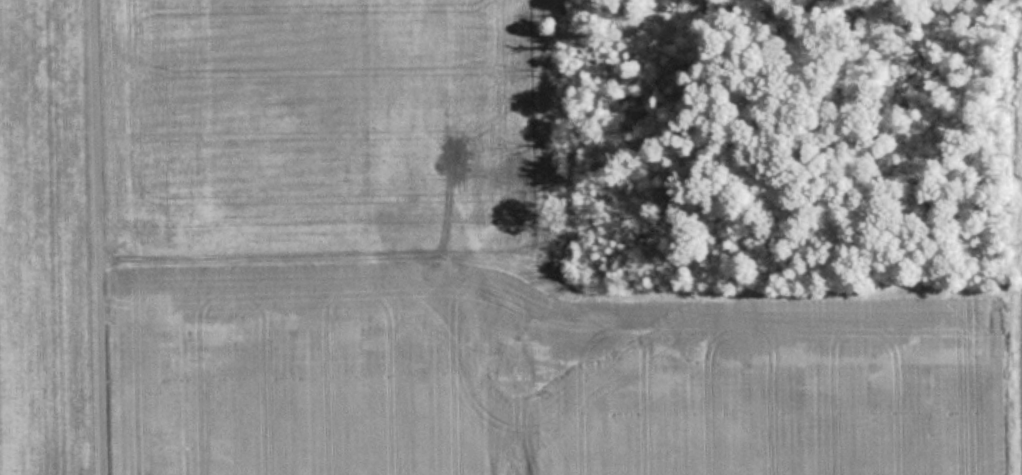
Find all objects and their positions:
road: (103, 237)

